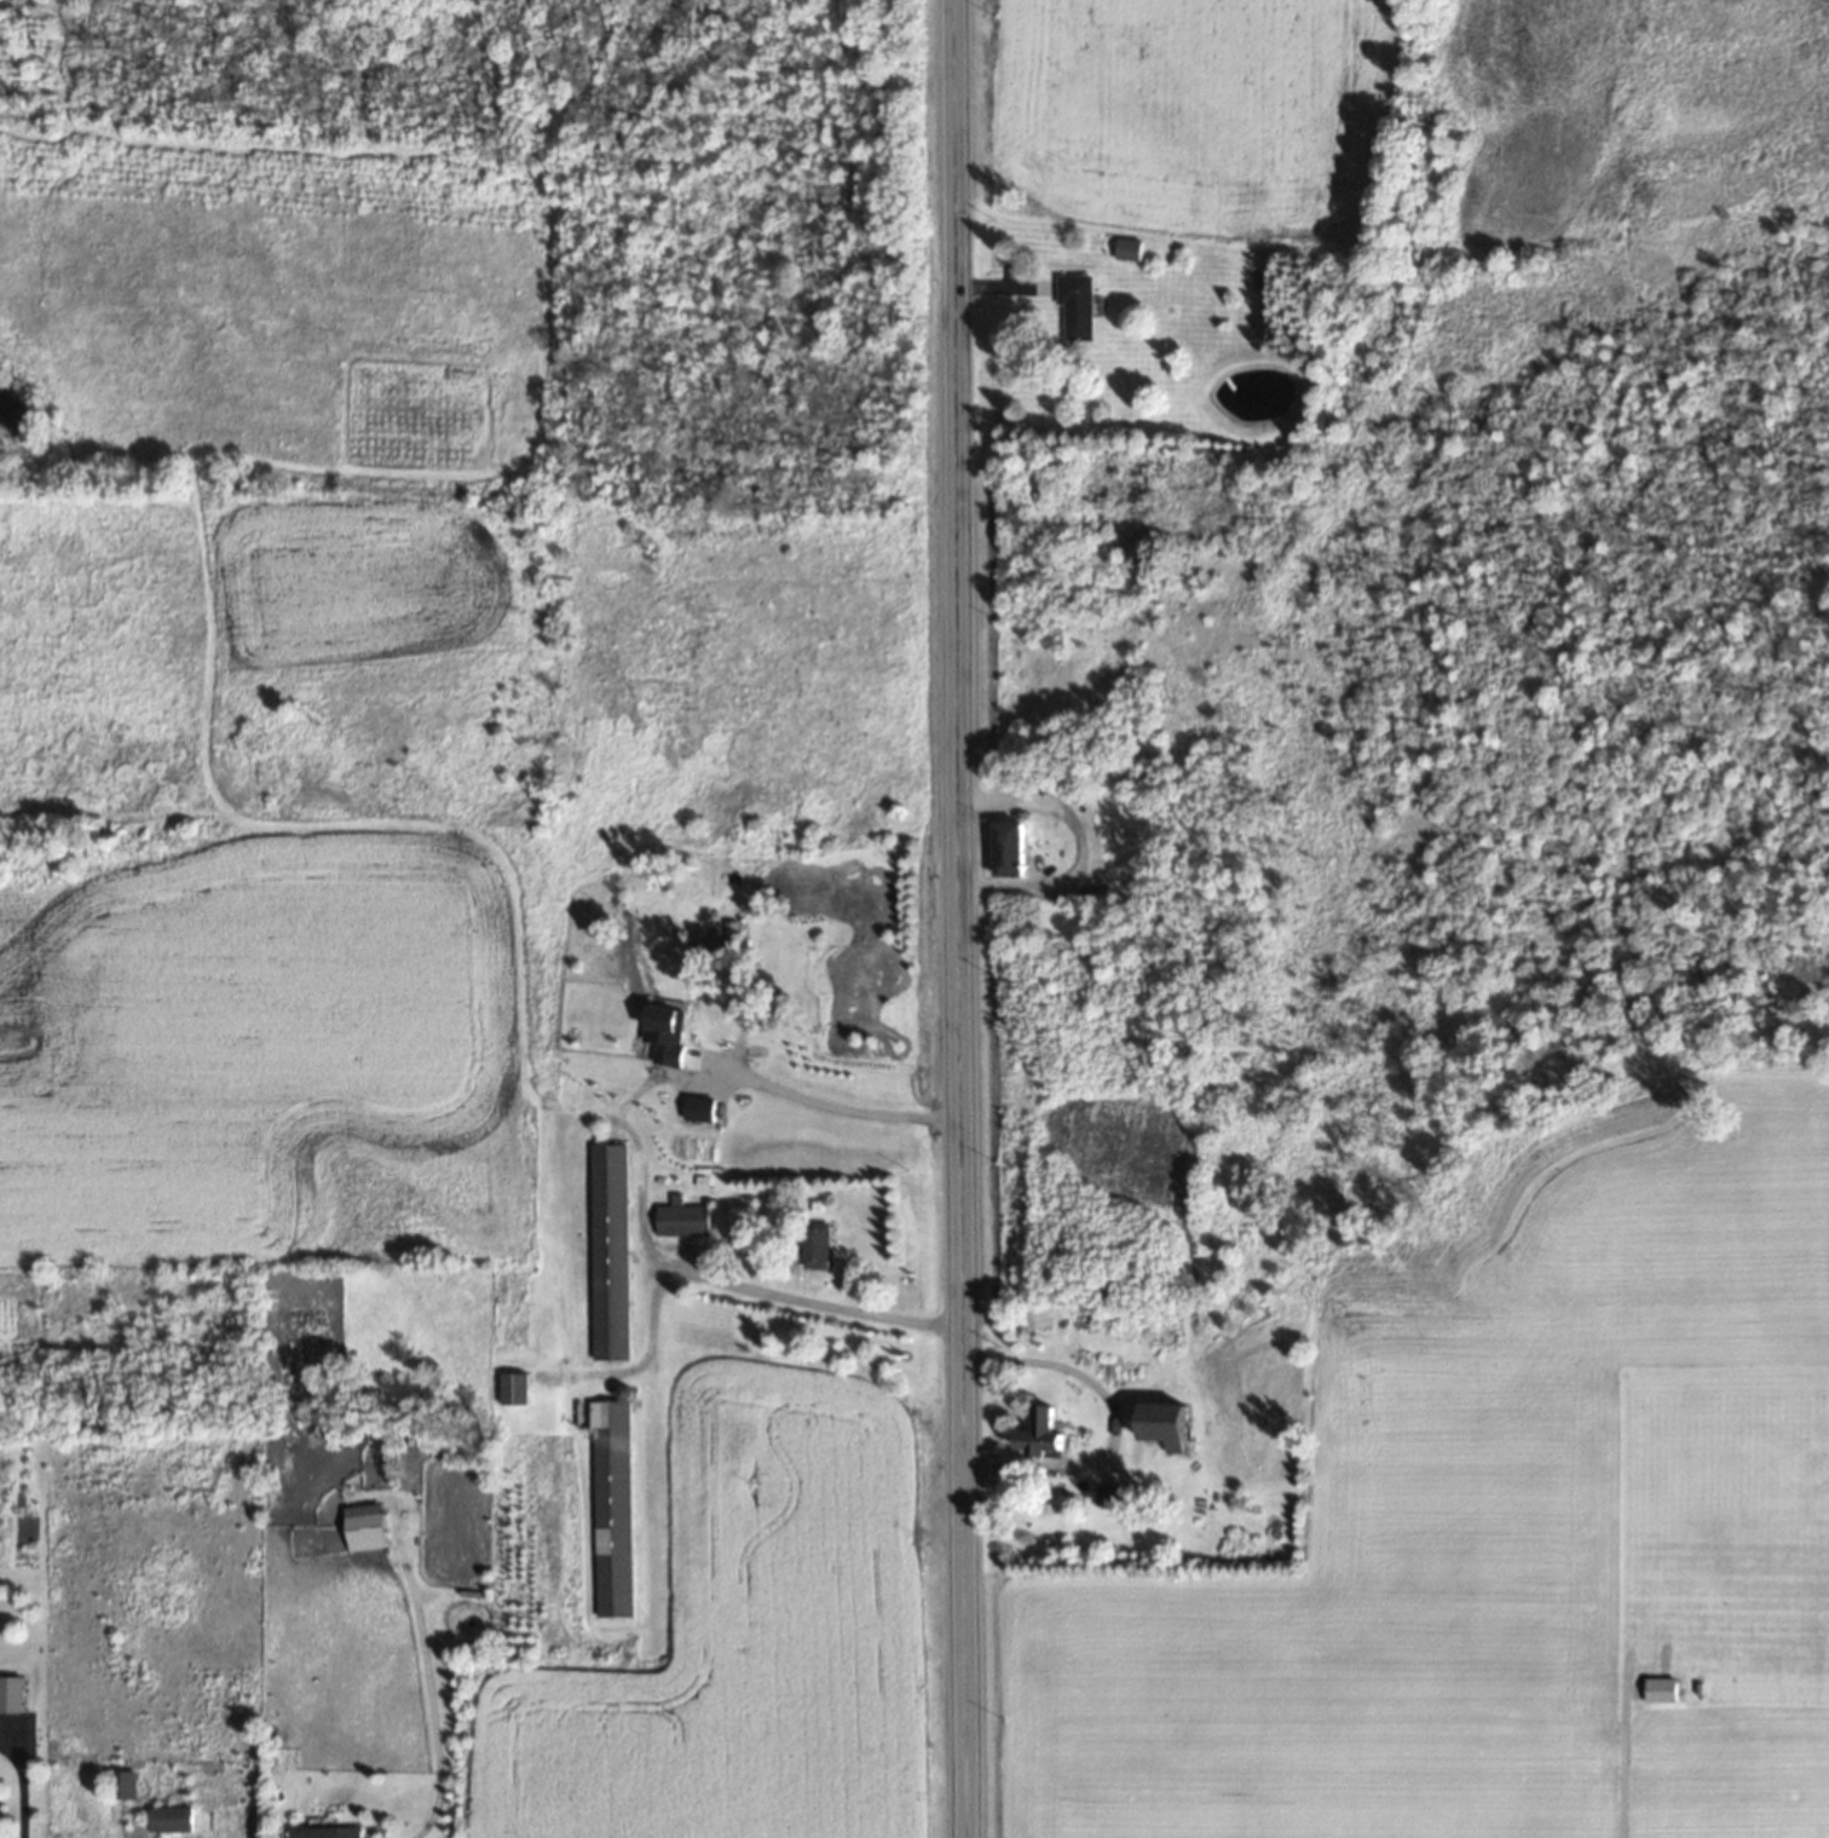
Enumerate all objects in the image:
building: (1129, 247)
building: (1078, 304)
building: (1012, 847)
building: (1095, 893)
road: (959, 918)
road: (831, 1105)
building: (682, 1217)
building: (817, 1243)
building: (608, 1249)
road: (814, 1303)
building: (514, 1385)
road: (1112, 1419)
building: (1169, 1422)
building: (1044, 1430)
building: (610, 1500)
building: (364, 1525)
building: (11, 1692)
building: (126, 1781)
road: (22, 1786)
building: (175, 1816)
building: (329, 1831)

